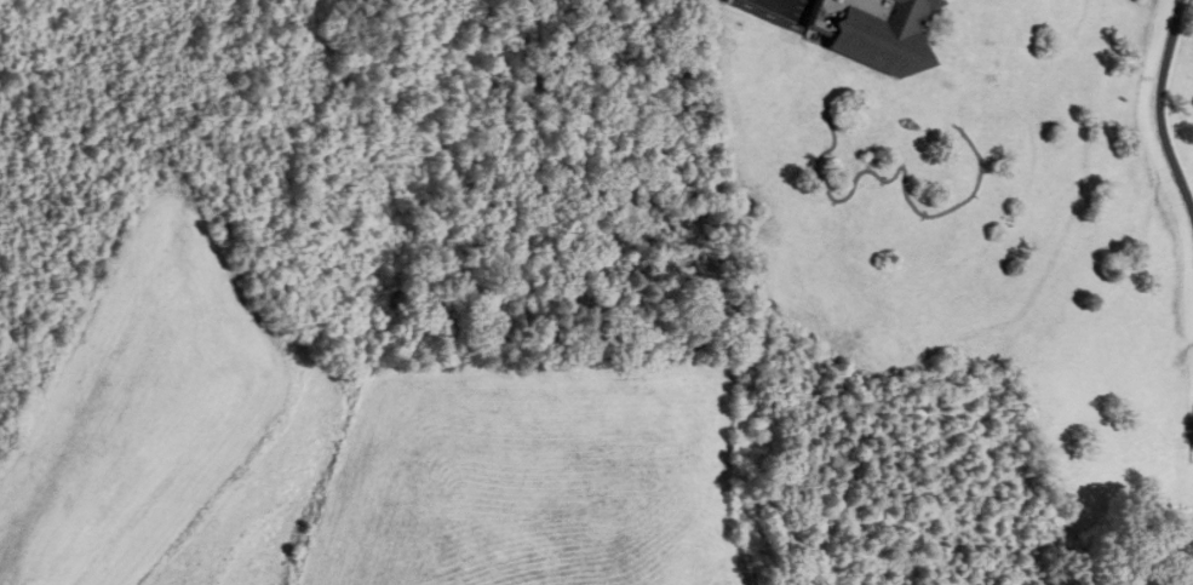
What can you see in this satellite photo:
building: (866, 30)
road: (1166, 101)

